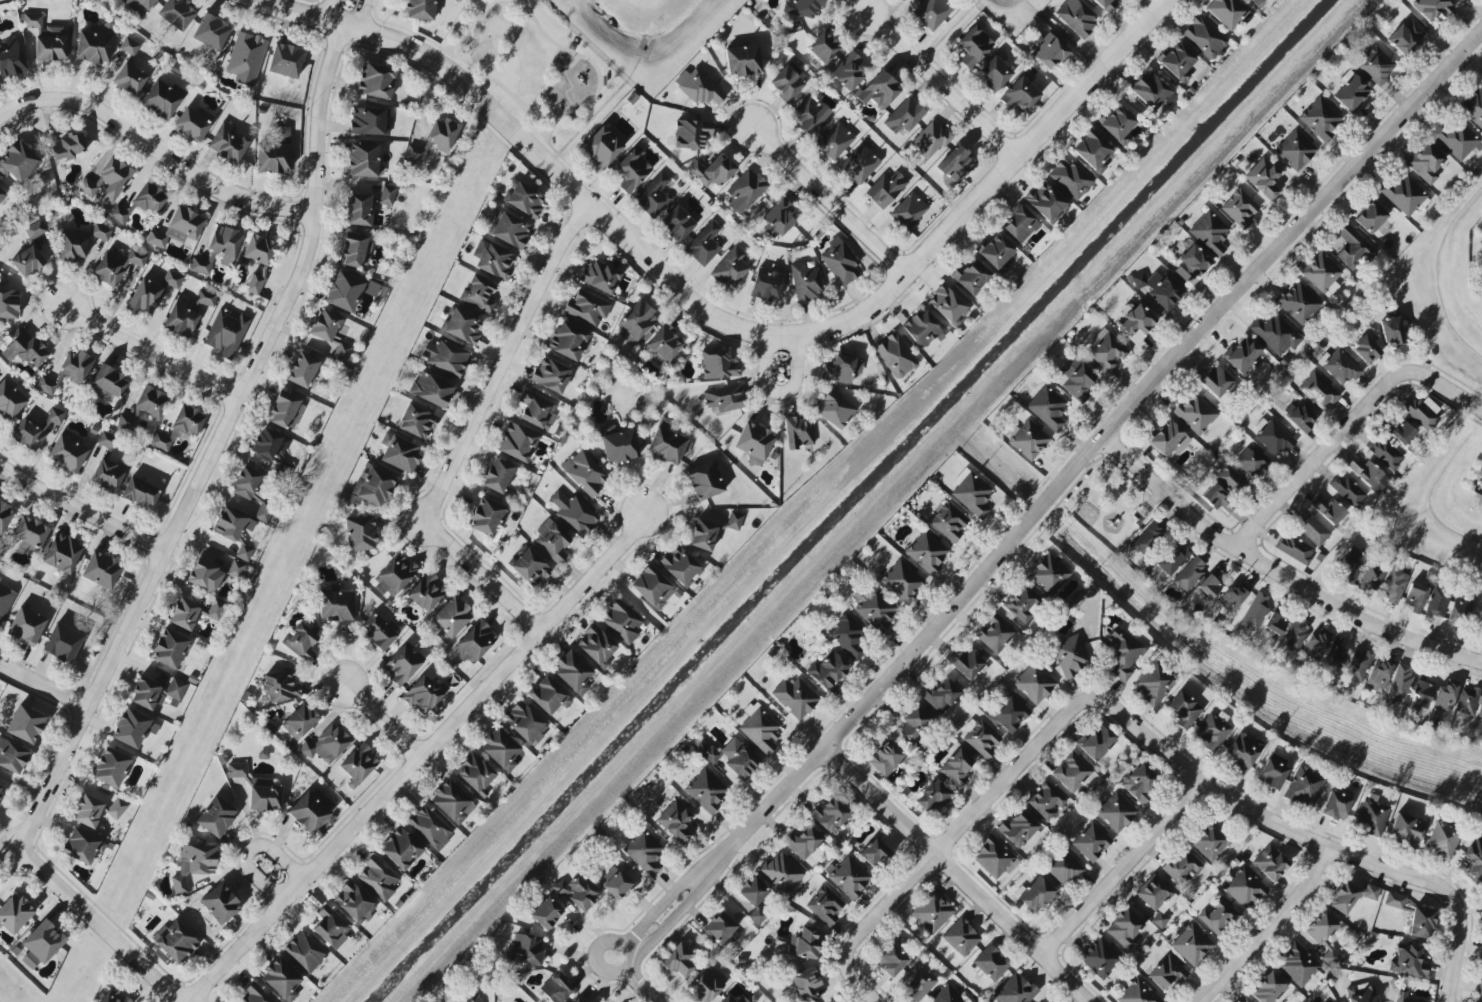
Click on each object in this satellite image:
building: (1255, 2)
building: (139, 5)
building: (1106, 5)
building: (803, 7)
building: (1431, 8)
building: (419, 9)
building: (1225, 12)
building: (176, 13)
building: (930, 13)
building: (1077, 16)
building: (211, 32)
building: (1204, 37)
building: (1406, 37)
building: (47, 38)
building: (974, 45)
building: (93, 46)
building: (128, 46)
building: (823, 48)
building: (1048, 52)
building: (11, 58)
building: (245, 58)
building: (285, 60)
building: (742, 60)
building: (1176, 61)
building: (1373, 64)
building: (848, 72)
building: (993, 73)
building: (129, 78)
road: (941, 79)
building: (376, 82)
building: (787, 83)
building: (698, 87)
building: (878, 90)
building: (1151, 91)
building: (1349, 92)
building: (1019, 94)
building: (162, 98)
road: (21, 104)
building: (1473, 107)
building: (809, 115)
building: (904, 116)
building: (1320, 118)
building: (369, 121)
building: (192, 122)
building: (1116, 124)
building: (442, 134)
building: (689, 134)
building: (930, 140)
building: (1457, 140)
building: (834, 141)
building: (227, 142)
building: (66, 147)
building: (601, 147)
building: (1295, 150)
building: (1092, 151)
building: (274, 153)
building: (415, 153)
building: (364, 160)
building: (18, 161)
building: (1425, 162)
building: (956, 163)
road: (553, 164)
road: (177, 165)
building: (859, 165)
road: (1012, 165)
building: (632, 169)
building: (712, 171)
building: (1069, 178)
building: (1263, 178)
building: (107, 181)
building: (886, 189)
building: (745, 191)
road: (828, 192)
building: (2, 195)
building: (386, 195)
building: (652, 195)
building: (1404, 195)
building: (148, 198)
building: (524, 200)
building: (1045, 202)
building: (1239, 208)
building: (357, 210)
building: (908, 211)
building: (118, 214)
building: (779, 217)
building: (1370, 217)
building: (677, 223)
building: (1018, 225)
building: (177, 228)
building: (35, 229)
building: (510, 230)
building: (100, 232)
building: (1209, 233)
building: (224, 243)
building: (703, 243)
building: (72, 247)
building: (1352, 248)
building: (1481, 249)
building: (355, 250)
building: (995, 251)
building: (257, 260)
building: (494, 261)
building: (27, 262)
building: (840, 262)
building: (1191, 264)
building: (115, 265)
building: (200, 266)
building: (730, 268)
building: (1322, 274)
building: (600, 277)
building: (970, 277)
building: (805, 282)
building: (766, 284)
building: (1159, 288)
building: (347, 291)
building: (151, 292)
building: (478, 294)
building: (8, 302)
building: (1299, 302)
building: (203, 303)
building: (947, 305)
building: (587, 308)
building: (180, 317)
building: (1135, 321)
building: (635, 322)
building: (462, 327)
building: (922, 329)
building: (225, 332)
building: (1391, 332)
building: (330, 334)
building: (1275, 334)
building: (567, 341)
building: (23, 348)
building: (1106, 350)
building: (1366, 350)
road: (149, 353)
building: (1241, 354)
building: (895, 355)
building: (445, 356)
road: (504, 361)
building: (718, 365)
building: (1341, 367)
building: (842, 368)
building: (302, 370)
building: (66, 372)
building: (550, 375)
road: (796, 376)
building: (1075, 379)
building: (1216, 382)
building: (108, 383)
building: (430, 389)
building: (1318, 390)
building: (724, 398)
building: (10, 400)
building: (147, 404)
building: (1047, 408)
building: (535, 409)
building: (835, 410)
building: (285, 411)
building: (1195, 413)
building: (1421, 413)
building: (1298, 416)
building: (417, 422)
road: (1349, 423)
building: (179, 427)
building: (36, 431)
building: (797, 432)
building: (1402, 433)
road: (225, 436)
building: (1166, 438)
building: (1274, 438)
building: (1027, 440)
building: (517, 443)
building: (666, 443)
building: (753, 443)
building: (269, 444)
building: (619, 446)
building: (67, 451)
building: (1384, 453)
building: (400, 454)
building: (1251, 461)
building: (584, 472)
building: (1366, 473)
building: (106, 474)
building: (1478, 474)
building: (497, 475)
building: (1230, 480)
building: (704, 481)
building: (375, 487)
building: (1347, 491)
building: (251, 492)
building: (139, 493)
building: (971, 493)
building: (1217, 498)
building: (1328, 509)
road: (1036, 510)
building: (573, 513)
road: (80, 517)
building: (486, 517)
building: (949, 522)
building: (231, 524)
building: (711, 530)
building: (1312, 530)
building: (360, 533)
building: (29, 535)
building: (1147, 539)
building: (1295, 549)
building: (244, 552)
building: (926, 552)
building: (61, 554)
building: (1175, 558)
building: (1351, 565)
building: (680, 566)
building: (530, 567)
building: (101, 570)
building: (1189, 573)
road: (1278, 573)
building: (212, 574)
building: (394, 574)
building: (1048, 574)
road: (483, 577)
building: (1370, 579)
building: (901, 580)
building: (1208, 586)
building: (1394, 586)
building: (652, 587)
building: (425, 592)
building: (1231, 598)
building: (1414, 598)
building: (5, 599)
building: (1023, 602)
building: (1436, 603)
building: (335, 605)
building: (874, 609)
building: (1459, 609)
building: (1255, 611)
building: (185, 614)
building: (450, 618)
building: (621, 621)
building: (1275, 624)
building: (26, 626)
building: (1480, 630)
building: (377, 632)
building: (995, 633)
building: (1295, 633)
building: (847, 637)
building: (301, 641)
building: (475, 641)
building: (62, 643)
building: (595, 645)
building: (1315, 645)
building: (169, 649)
building: (1122, 653)
building: (1070, 656)
building: (1335, 658)
building: (966, 663)
building: (402, 664)
building: (1357, 665)
building: (827, 670)
building: (1377, 676)
building: (1034, 683)
building: (1153, 683)
building: (1399, 684)
building: (281, 687)
road: (44, 688)
building: (1422, 691)
building: (156, 693)
building: (423, 694)
building: (547, 695)
building: (940, 696)
building: (794, 697)
building: (1443, 697)
building: (1466, 701)
building: (1183, 709)
building: (1009, 713)
building: (1479, 713)
road: (380, 715)
building: (299, 721)
building: (524, 723)
building: (25, 724)
building: (914, 724)
building: (132, 728)
building: (759, 728)
building: (1211, 732)
building: (981, 737)
building: (1095, 742)
building: (326, 744)
building: (501, 750)
building: (705, 751)
building: (1241, 751)
building: (12, 756)
building: (885, 757)
road: (421, 758)
building: (739, 758)
building: (358, 765)
building: (956, 767)
building: (110, 768)
building: (236, 770)
building: (1272, 771)
building: (474, 772)
building: (1071, 772)
building: (1140, 782)
building: (1303, 787)
building: (0, 788)
building: (705, 790)
building: (265, 797)
building: (932, 797)
building: (1045, 800)
building: (451, 802)
building: (1335, 805)
building: (97, 809)
building: (311, 809)
building: (1116, 812)
building: (830, 814)
building: (214, 816)
road: (1272, 817)
building: (1371, 817)
building: (675, 821)
road: (960, 824)
building: (429, 828)
building: (1406, 829)
building: (1019, 830)
building: (1442, 839)
building: (1091, 841)
building: (1210, 841)
building: (802, 842)
building: (82, 846)
building: (400, 849)
building: (644, 852)
building: (873, 853)
building: (994, 858)
building: (1472, 858)
building: (1270, 863)
building: (193, 864)
road: (1127, 866)
building: (1182, 867)
building: (1064, 869)
road: (273, 871)
building: (781, 872)
road: (962, 873)
building: (848, 877)
building: (377, 879)
building: (615, 883)
building: (1244, 888)
building: (573, 892)
building: (1370, 892)
building: (1036, 894)
building: (1343, 897)
building: (754, 898)
building: (1156, 898)
building: (1394, 900)
building: (353, 902)
building: (219, 904)
building: (824, 905)
building: (545, 912)
building: (932, 912)
building: (14, 913)
building: (1217, 915)
road: (100, 922)
building: (1420, 923)
building: (331, 927)
building: (1320, 927)
building: (718, 928)
building: (1124, 929)
road: (1271, 929)
building: (959, 938)
building: (175, 942)
building: (804, 943)
building: (40, 944)
building: (1191, 945)
building: (524, 949)
building: (304, 952)
building: (1099, 957)
building: (1330, 957)
road: (1460, 957)
building: (890, 960)
building: (1408, 960)
building: (678, 961)
building: (990, 963)
building: (1297, 963)
building: (1167, 973)
building: (280, 979)
building: (917, 982)
building: (1480, 982)
building: (805, 984)
building: (705, 985)
road: (858, 986)
building: (1267, 987)
building: (555, 988)
building: (1015, 990)
building: (1138, 993)
road: (650, 994)
building: (949, 994)
building: (1360, 995)
building: (255, 996)
building: (1405, 996)
building: (111, 997)
building: (467, 998)

